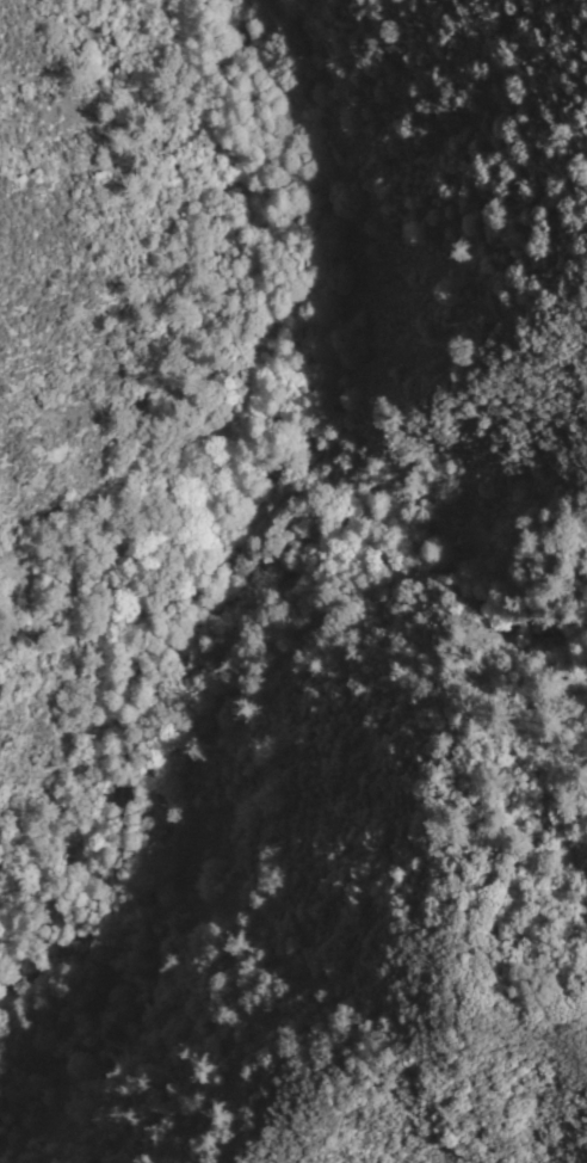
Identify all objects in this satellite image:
road: (210, 571)

